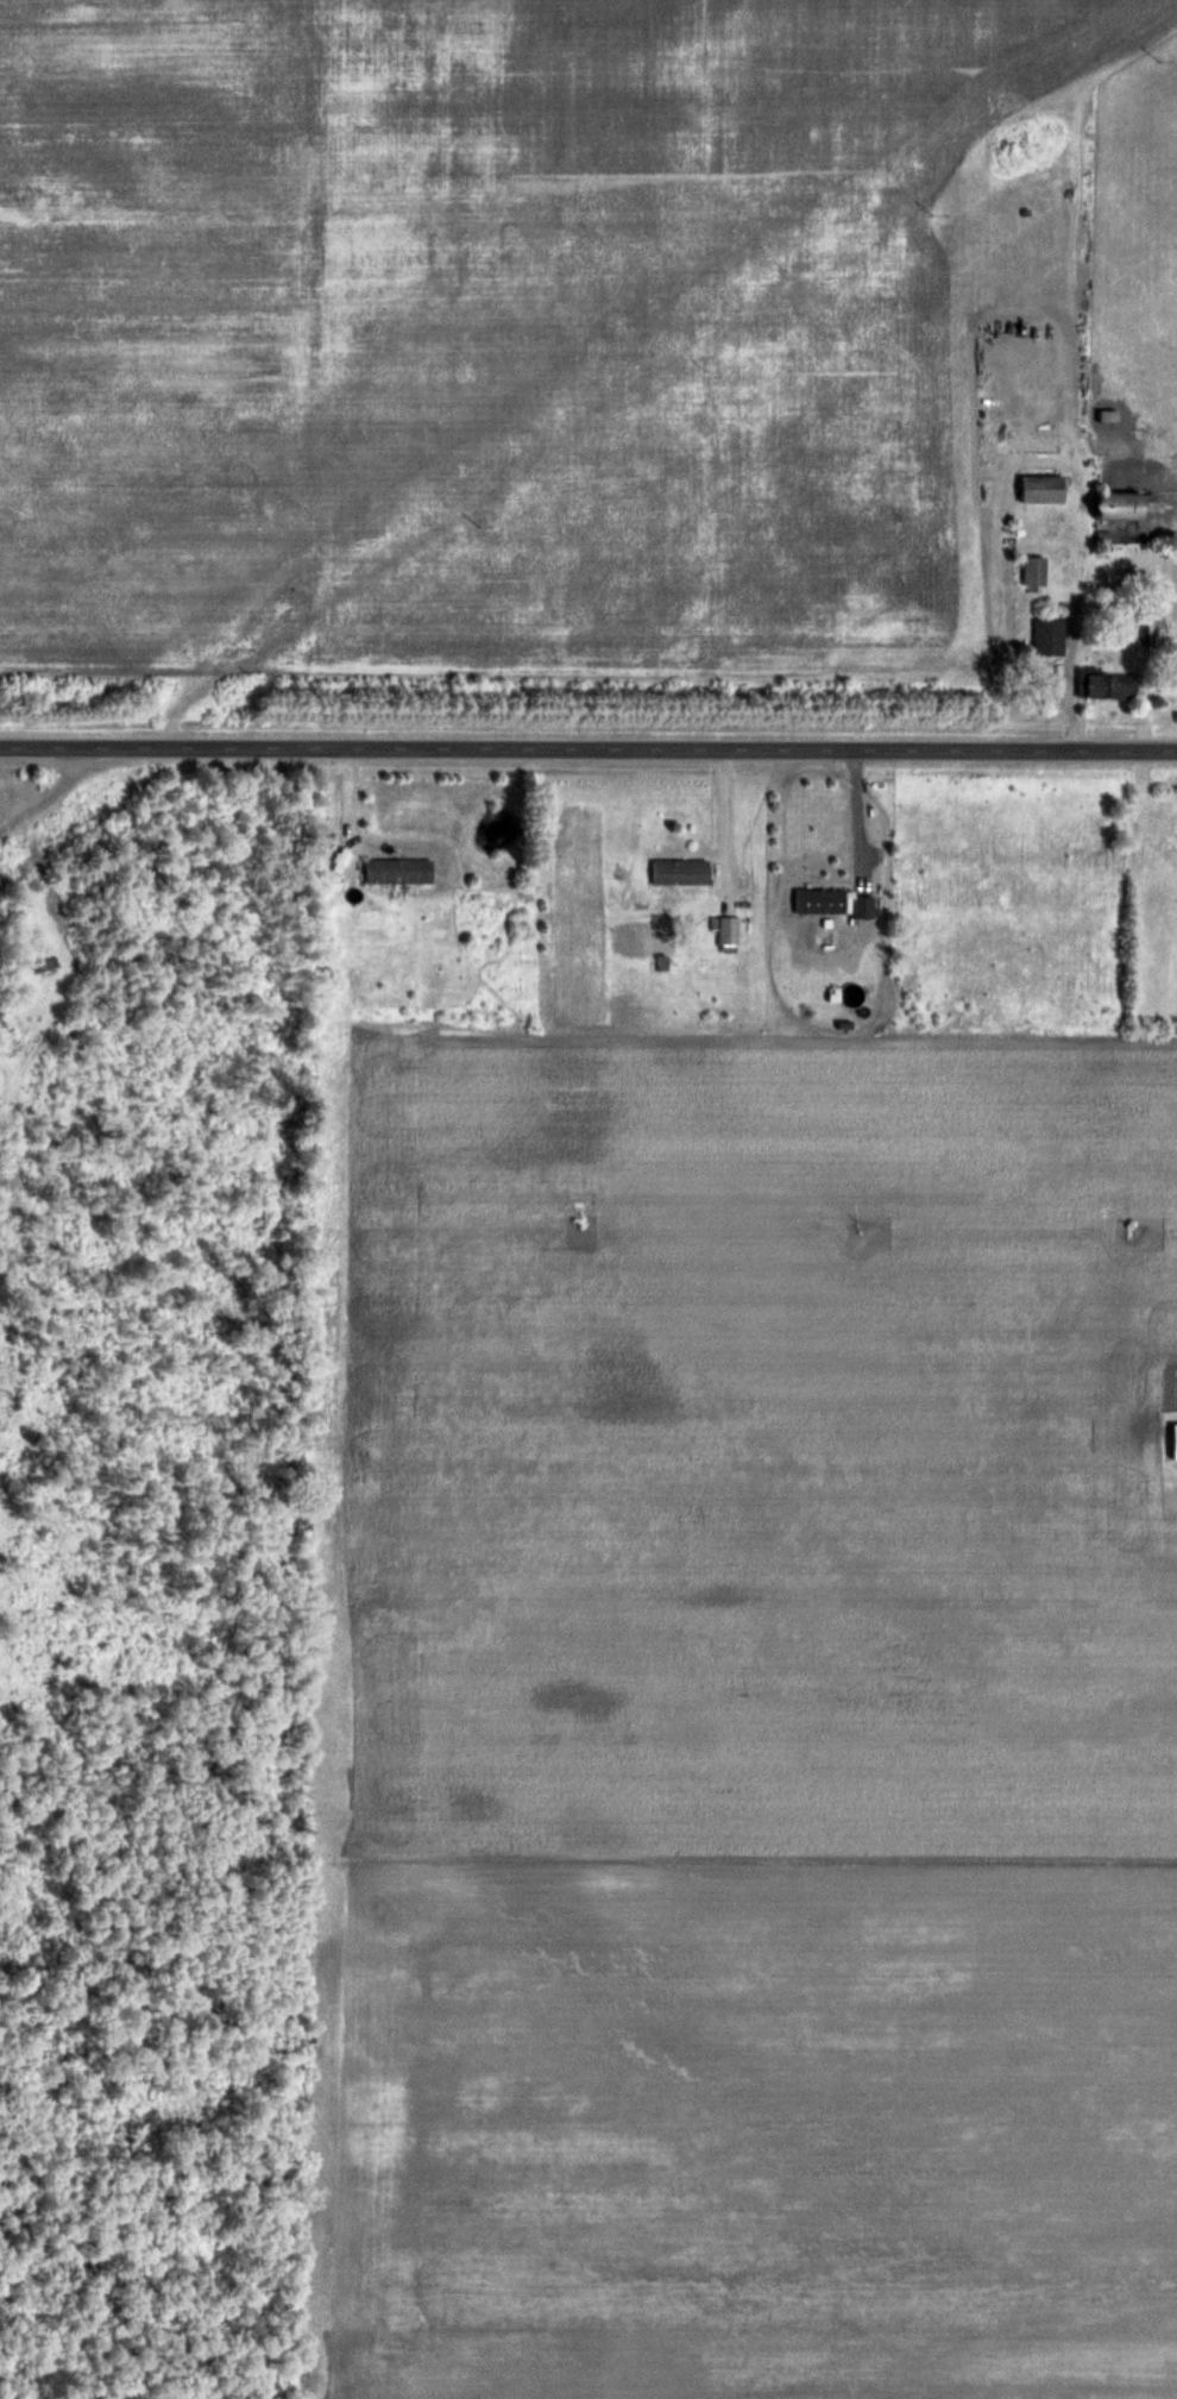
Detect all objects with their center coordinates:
building: (1044, 489)
building: (1121, 505)
building: (1034, 571)
building: (1050, 636)
building: (1108, 685)
road: (587, 754)
road: (851, 819)
road: (713, 821)
building: (399, 872)
building: (681, 873)
building: (820, 903)
building: (863, 908)
building: (729, 931)
building: (39, 967)
building: (1175, 1440)

